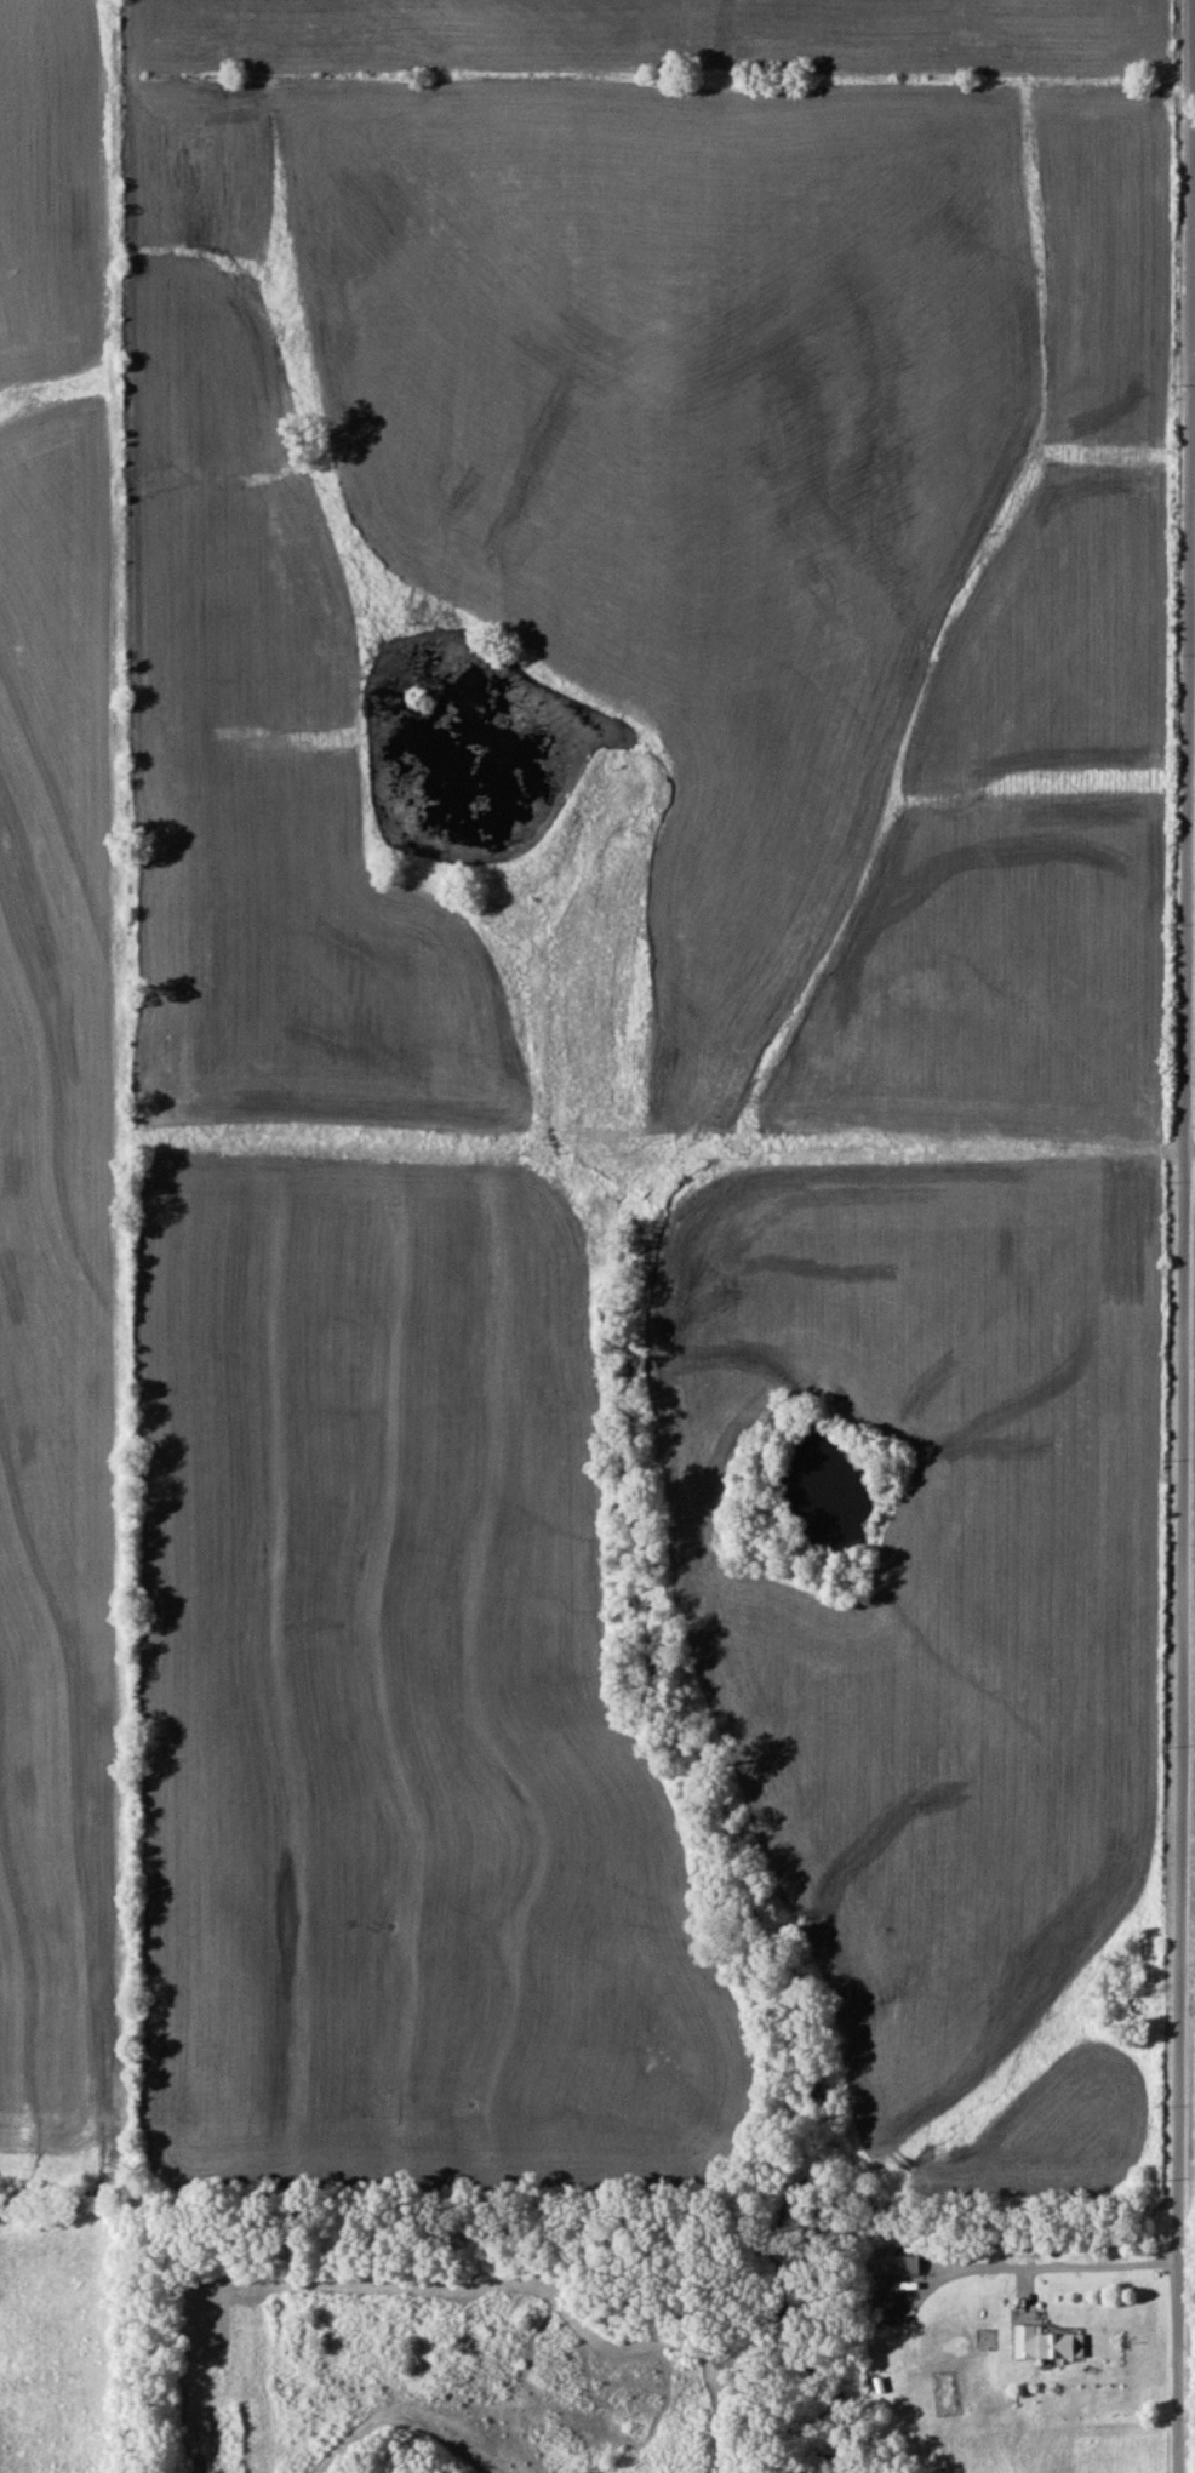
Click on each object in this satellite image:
road: (1191, 1144)
road: (1188, 1236)
building: (894, 2266)
building: (1044, 2345)

